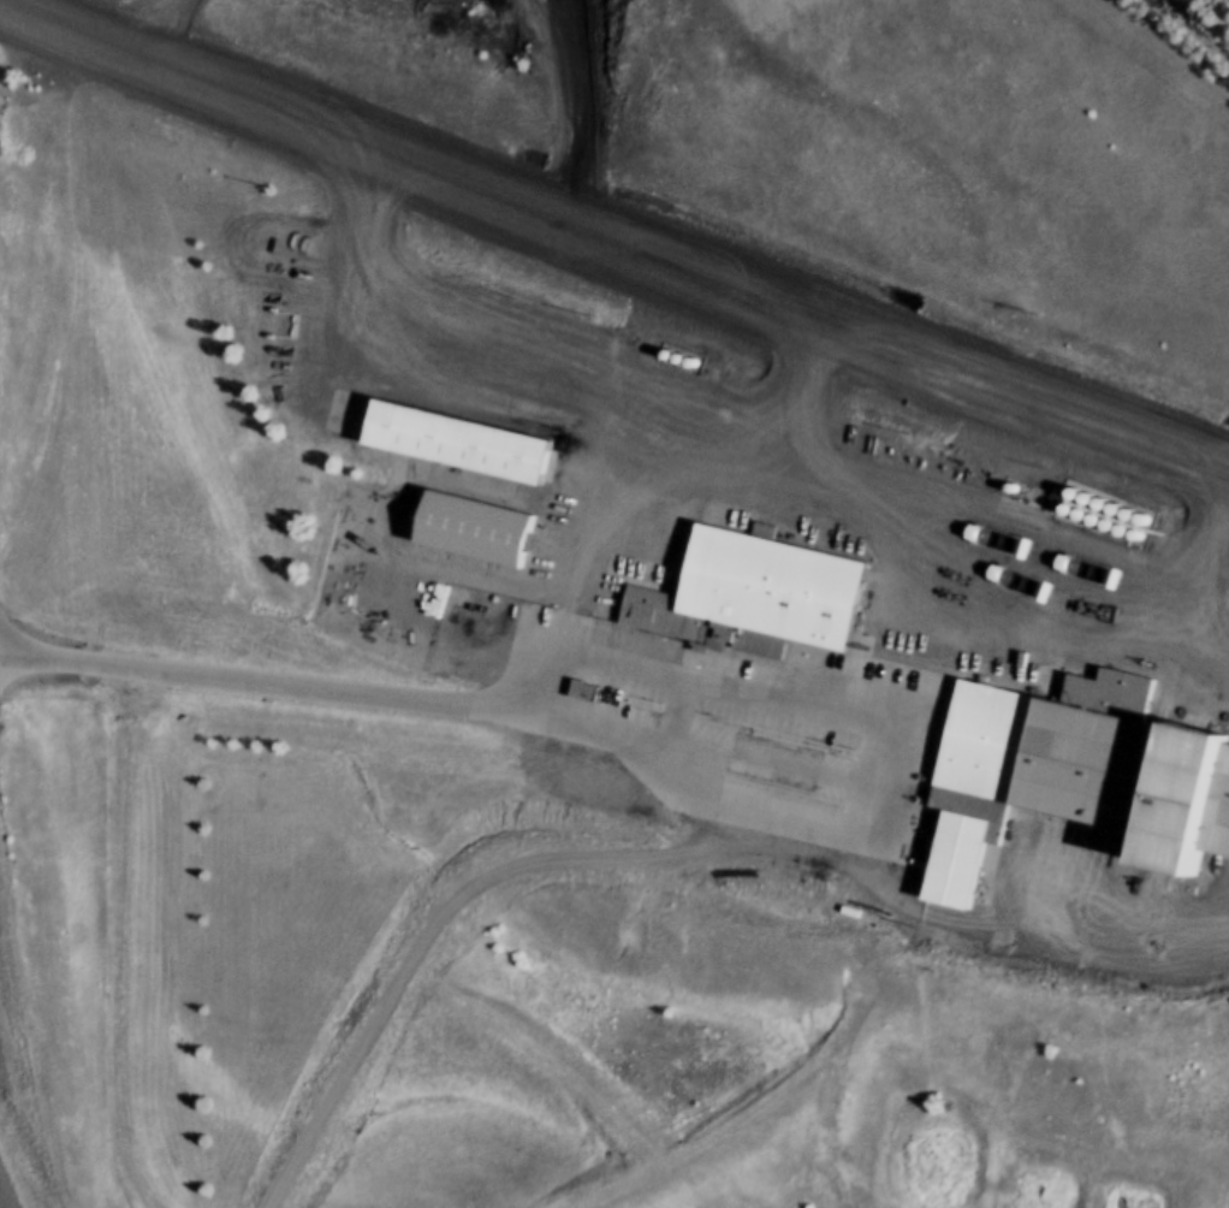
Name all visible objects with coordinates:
road: (147, 30)
road: (613, 247)
building: (468, 440)
road: (768, 442)
road: (655, 497)
building: (468, 523)
building: (765, 592)
road: (1215, 598)
road: (641, 746)
building: (1096, 756)
building: (978, 859)
road: (118, 947)
road: (20, 1059)

